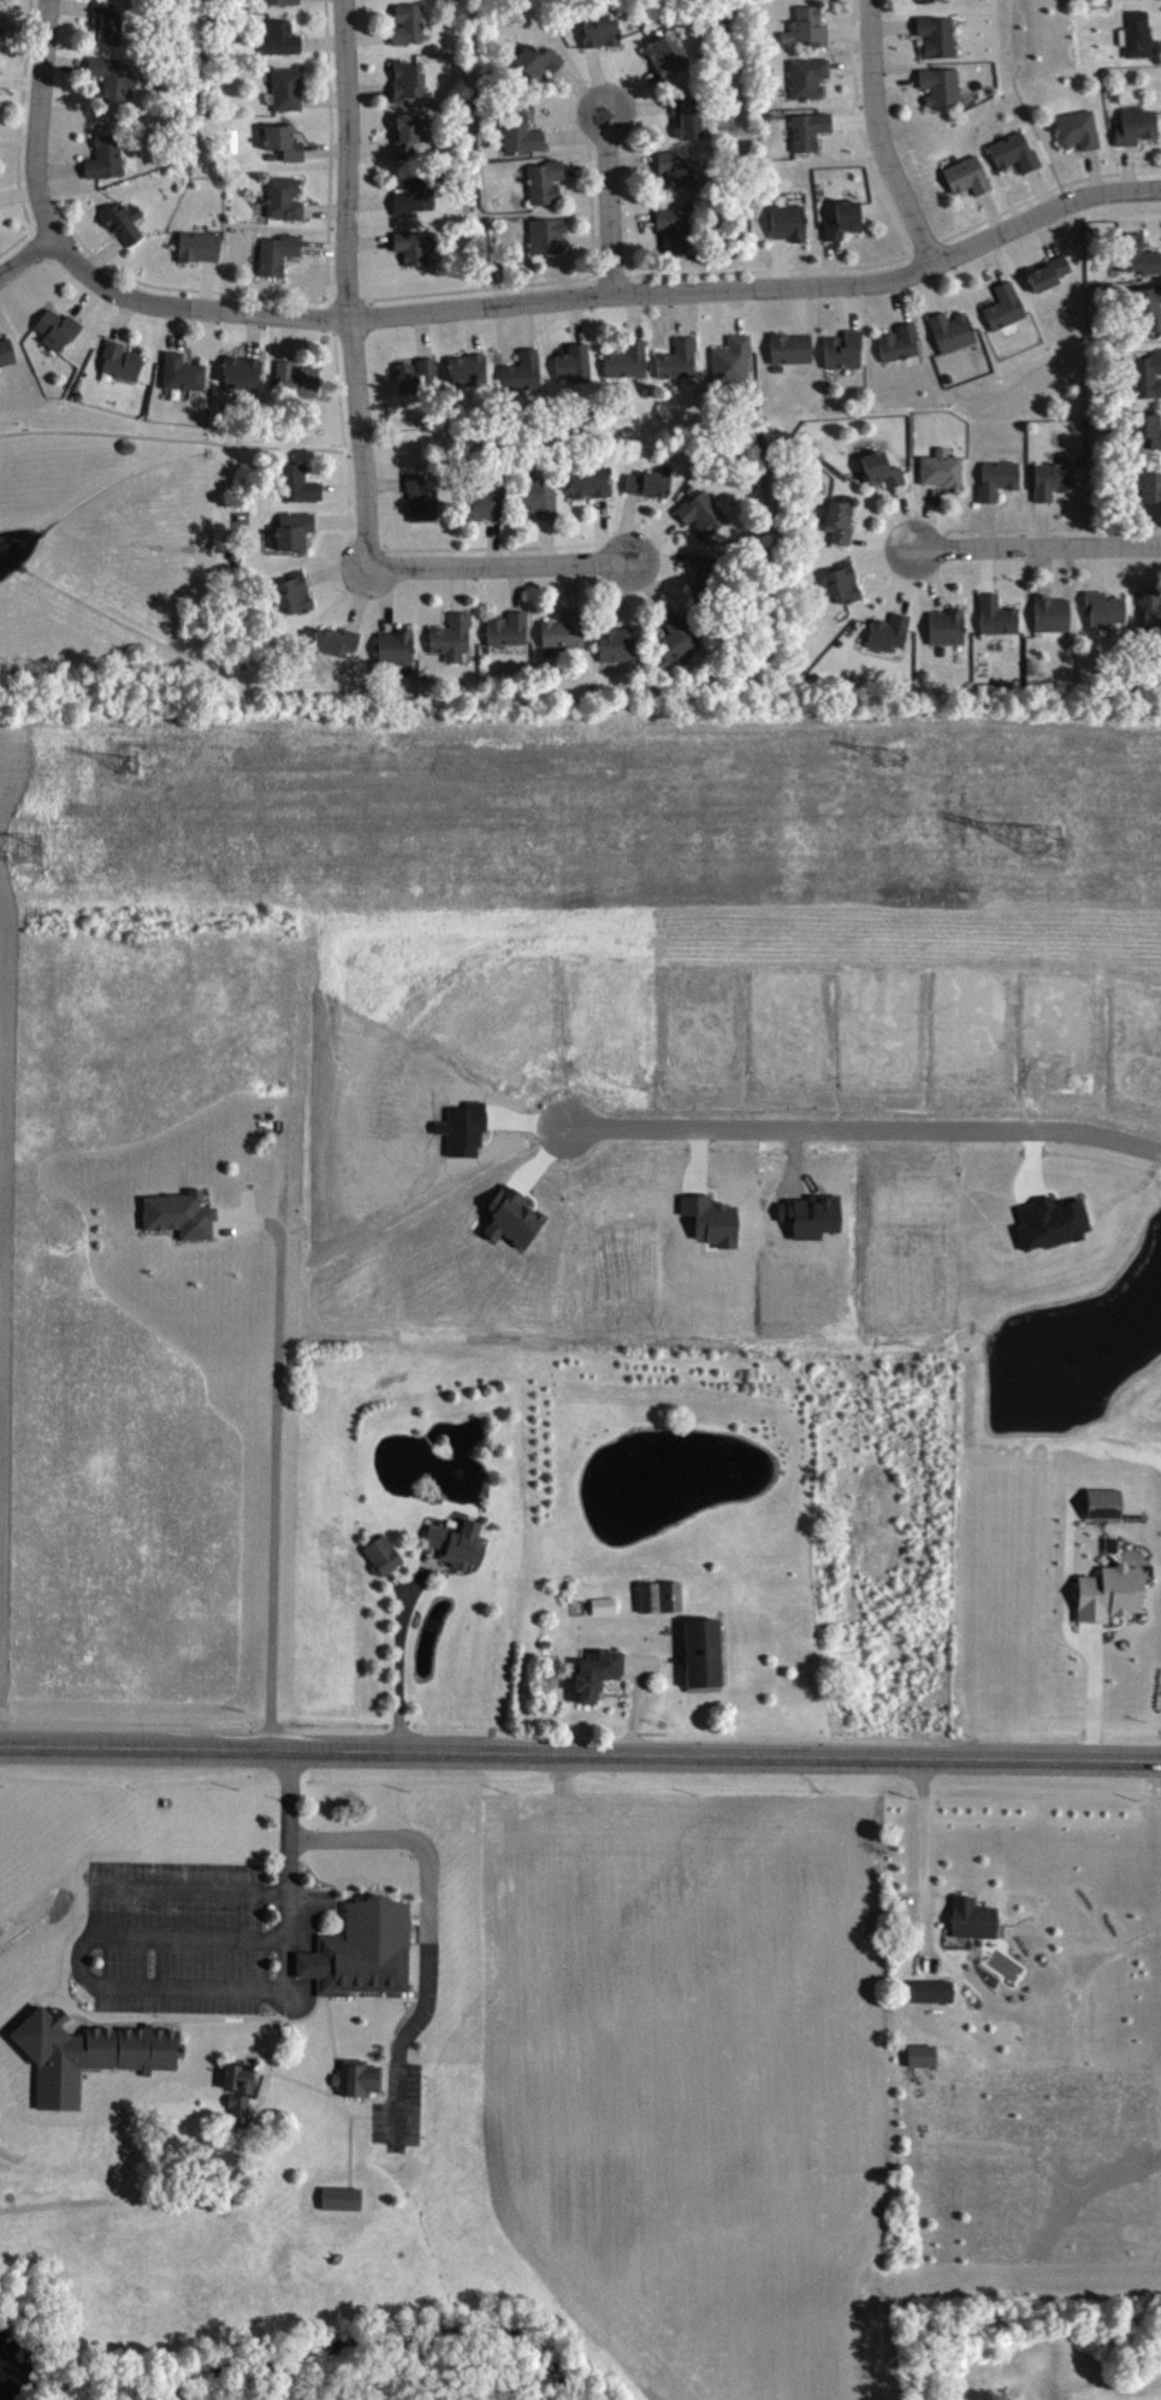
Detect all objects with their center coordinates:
building: (932, 0)
building: (283, 2)
building: (2, 23)
building: (109, 24)
building: (411, 24)
building: (808, 29)
building: (604, 31)
building: (1141, 35)
building: (940, 36)
building: (284, 39)
building: (669, 55)
building: (541, 60)
building: (0, 77)
building: (117, 78)
building: (811, 78)
building: (410, 81)
building: (943, 87)
building: (290, 89)
building: (689, 119)
road: (37, 120)
building: (1138, 126)
building: (1080, 130)
building: (812, 131)
building: (523, 134)
building: (409, 136)
road: (882, 138)
building: (288, 142)
building: (1017, 152)
building: (108, 158)
building: (680, 170)
building: (970, 176)
building: (549, 182)
building: (419, 195)
building: (286, 199)
road: (611, 207)
building: (847, 220)
building: (792, 223)
building: (126, 224)
building: (677, 230)
building: (550, 236)
building: (201, 247)
building: (417, 247)
building: (280, 254)
building: (1136, 255)
road: (26, 260)
building: (1053, 273)
road: (346, 284)
road: (604, 296)
building: (1007, 307)
building: (1151, 307)
building: (60, 330)
building: (955, 332)
building: (902, 343)
building: (794, 349)
building: (847, 350)
building: (7, 353)
building: (682, 360)
building: (124, 361)
building: (630, 361)
building: (735, 361)
building: (576, 365)
building: (470, 371)
building: (526, 372)
building: (185, 373)
building: (244, 374)
building: (419, 374)
building: (300, 379)
building: (1149, 431)
building: (943, 469)
building: (884, 471)
building: (1056, 478)
building: (1001, 479)
building: (593, 481)
building: (1151, 483)
building: (301, 484)
building: (651, 485)
building: (541, 498)
building: (423, 499)
building: (486, 504)
building: (705, 514)
building: (842, 521)
building: (297, 531)
road: (1042, 551)
road: (503, 567)
building: (845, 584)
building: (297, 593)
building: (1107, 610)
building: (1150, 610)
building: (1055, 614)
building: (1000, 616)
building: (949, 627)
building: (510, 629)
building: (567, 631)
building: (892, 633)
building: (680, 637)
building: (455, 638)
building: (339, 642)
building: (620, 645)
building: (399, 648)
power tower: (894, 756)
power tower: (128, 765)
power tower: (1047, 840)
power tower: (28, 847)
road: (865, 1129)
building: (183, 1214)
road: (278, 1467)
building: (1107, 1505)
building: (462, 1544)
building: (386, 1556)
building: (1113, 1594)
building: (663, 1597)
building: (606, 1607)
building: (705, 1656)
road: (403, 1666)
building: (599, 1674)
road: (1092, 1697)
road: (580, 1757)
road: (926, 1851)
building: (976, 1920)
road: (431, 1925)
building: (366, 1951)
road: (164, 1988)
building: (935, 1992)
building: (90, 2055)
building: (925, 2056)
building: (242, 2079)
building: (361, 2079)
building: (241, 2110)
building: (344, 2199)
road: (61, 2206)

